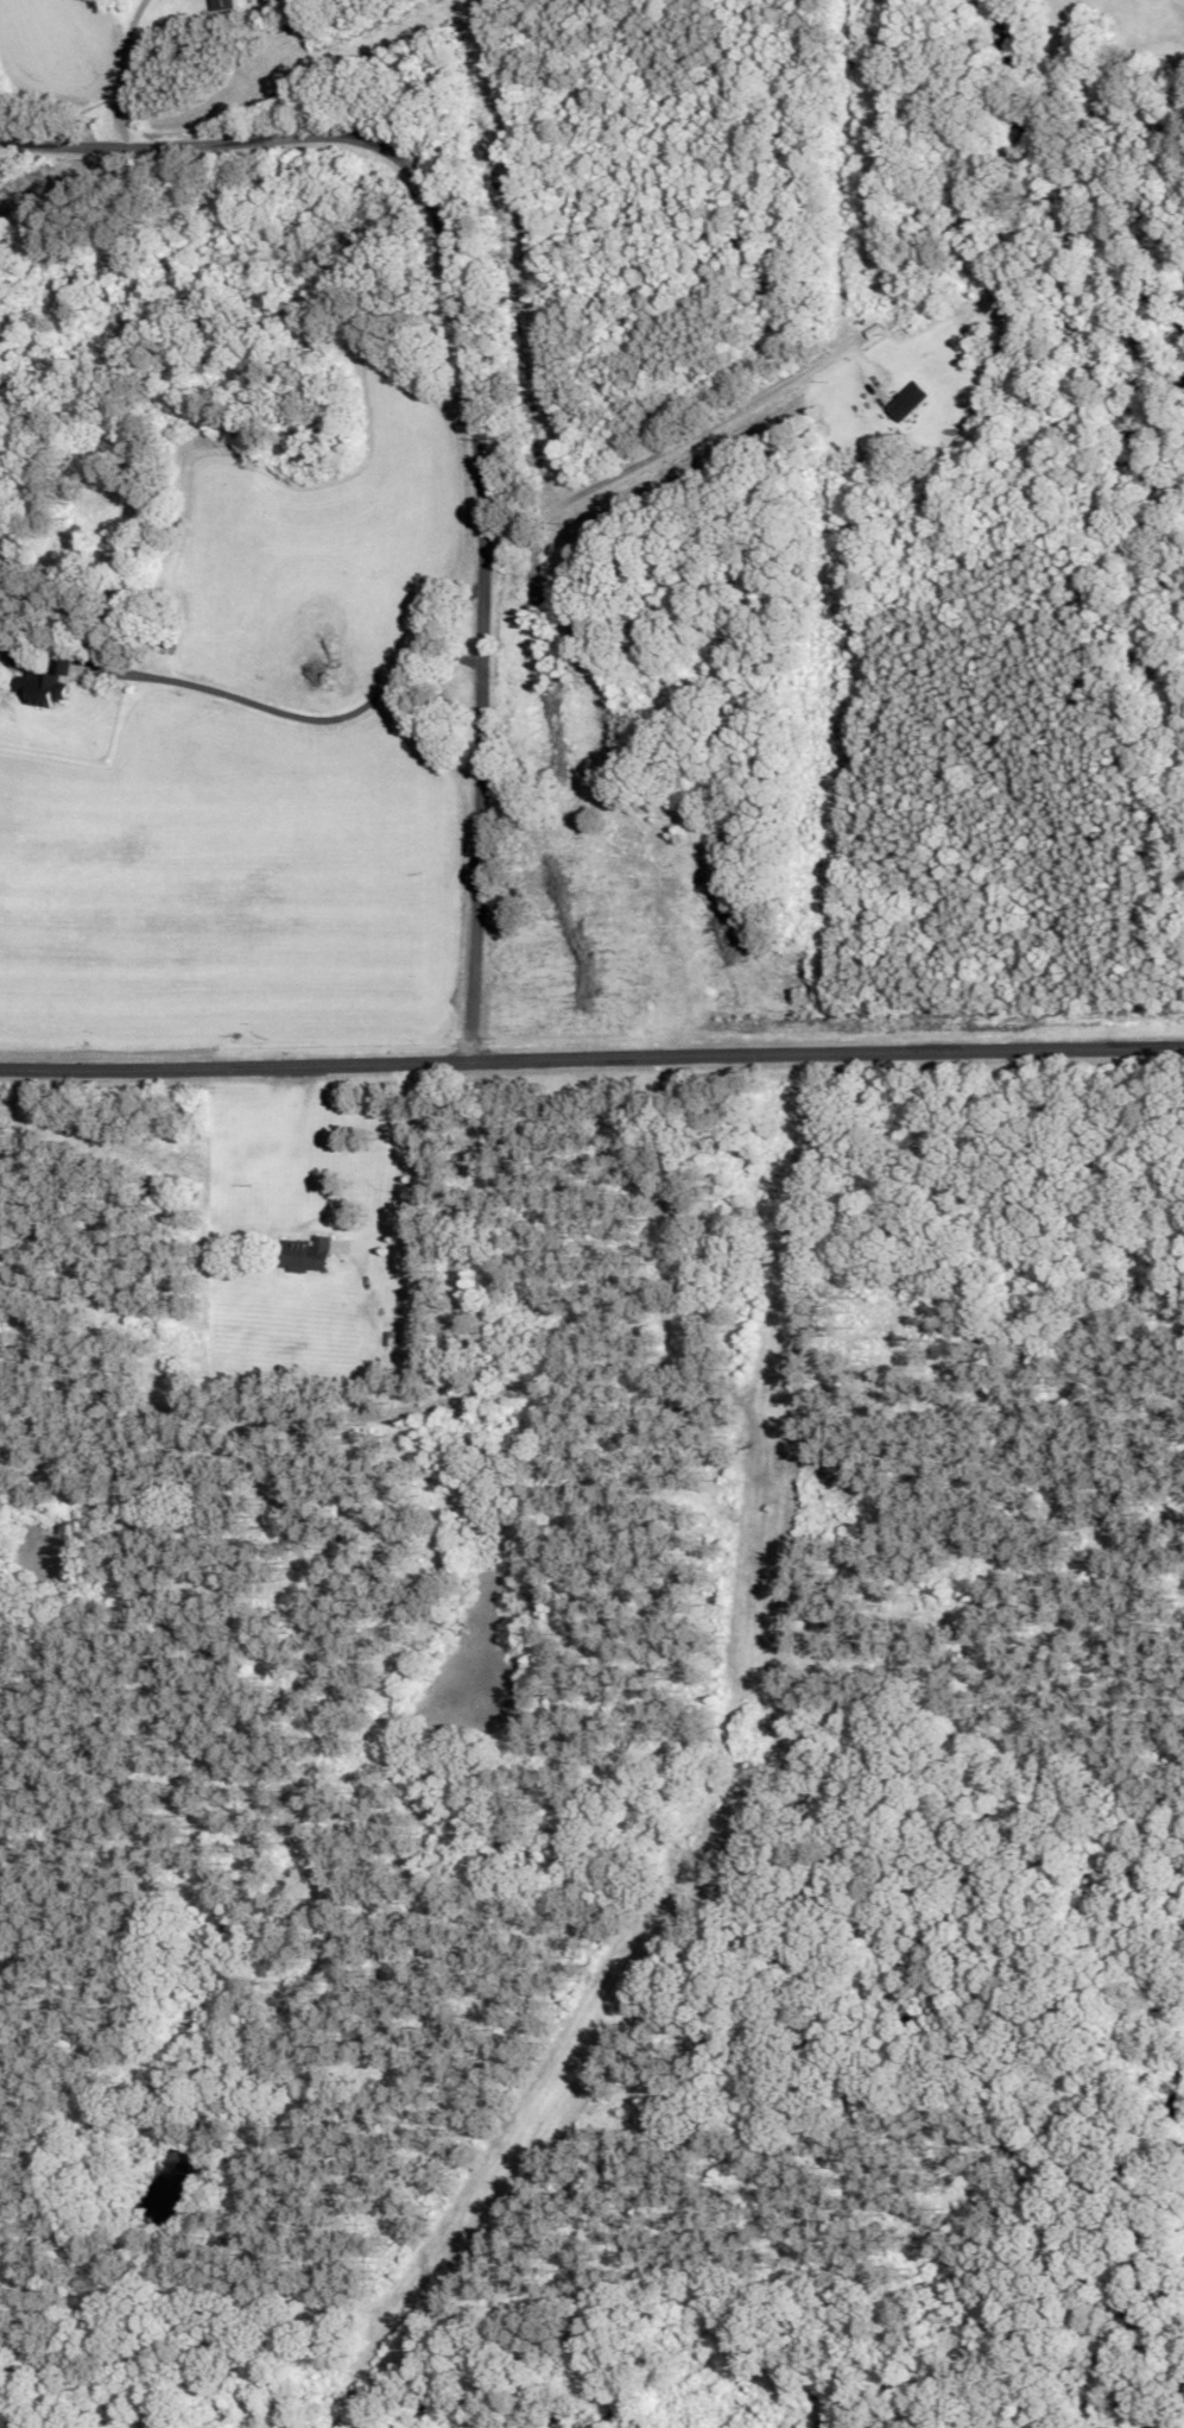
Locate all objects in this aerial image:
building: (224, 7)
road: (399, 159)
building: (906, 406)
road: (667, 447)
building: (49, 688)
road: (476, 807)
building: (631, 847)
road: (591, 1061)
building: (308, 1259)

